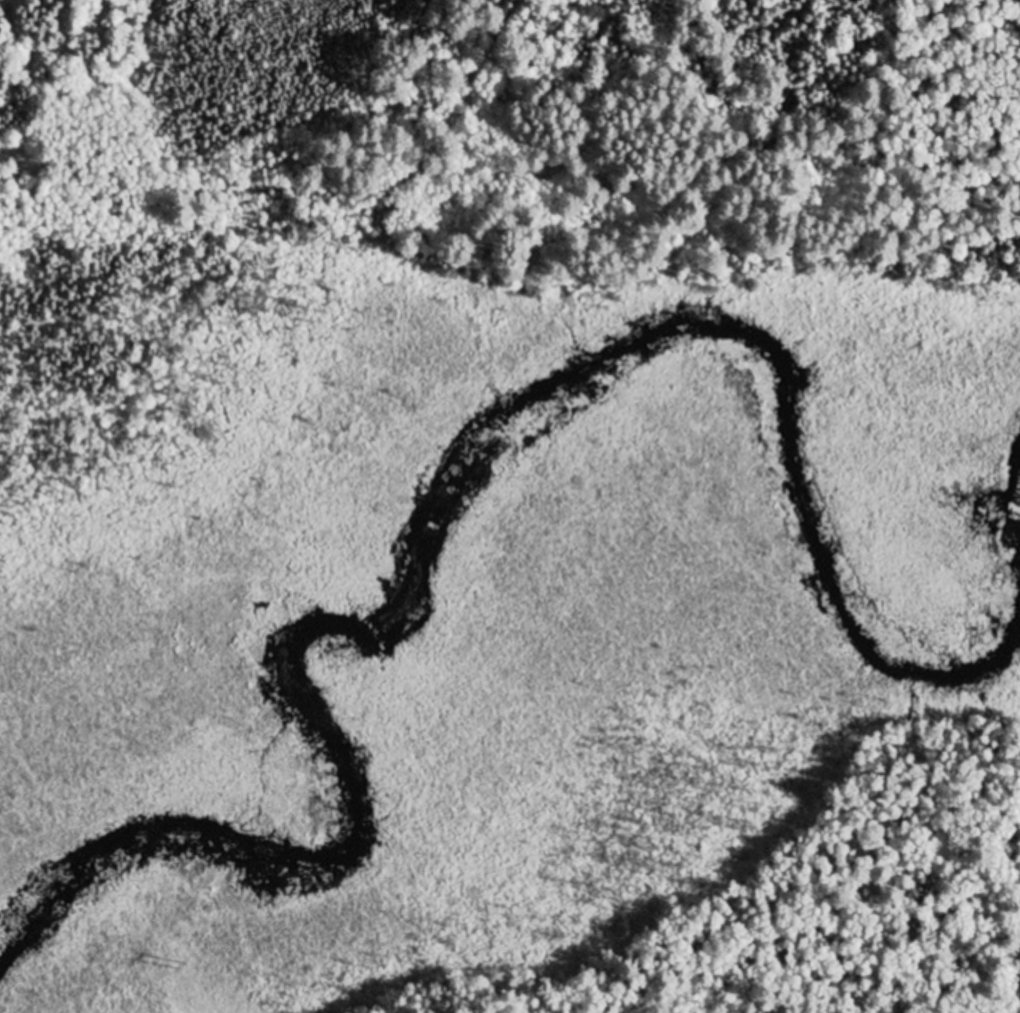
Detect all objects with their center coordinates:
power tower: (195, 968)

